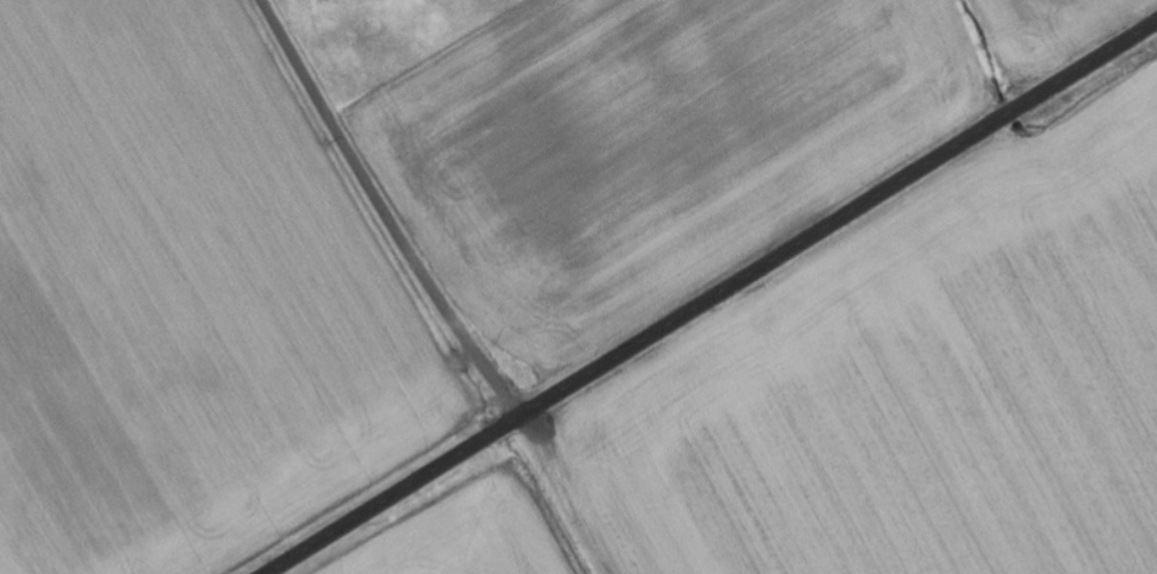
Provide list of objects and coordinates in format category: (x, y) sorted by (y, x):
road: (386, 211)
road: (713, 298)

